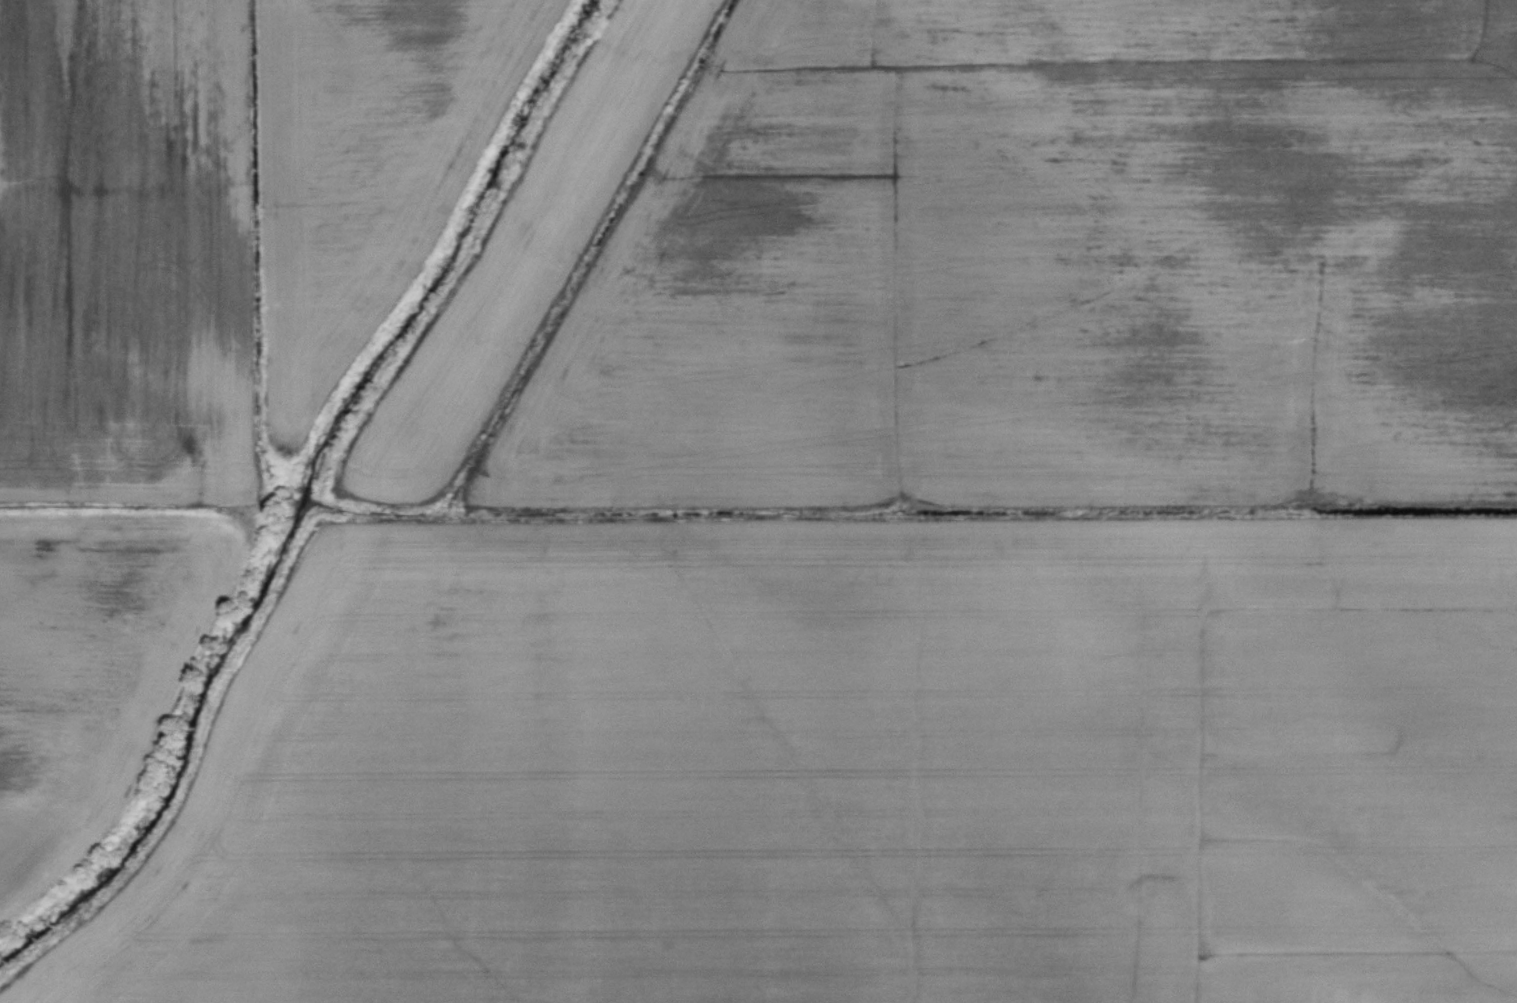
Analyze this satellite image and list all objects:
road: (50, 528)

